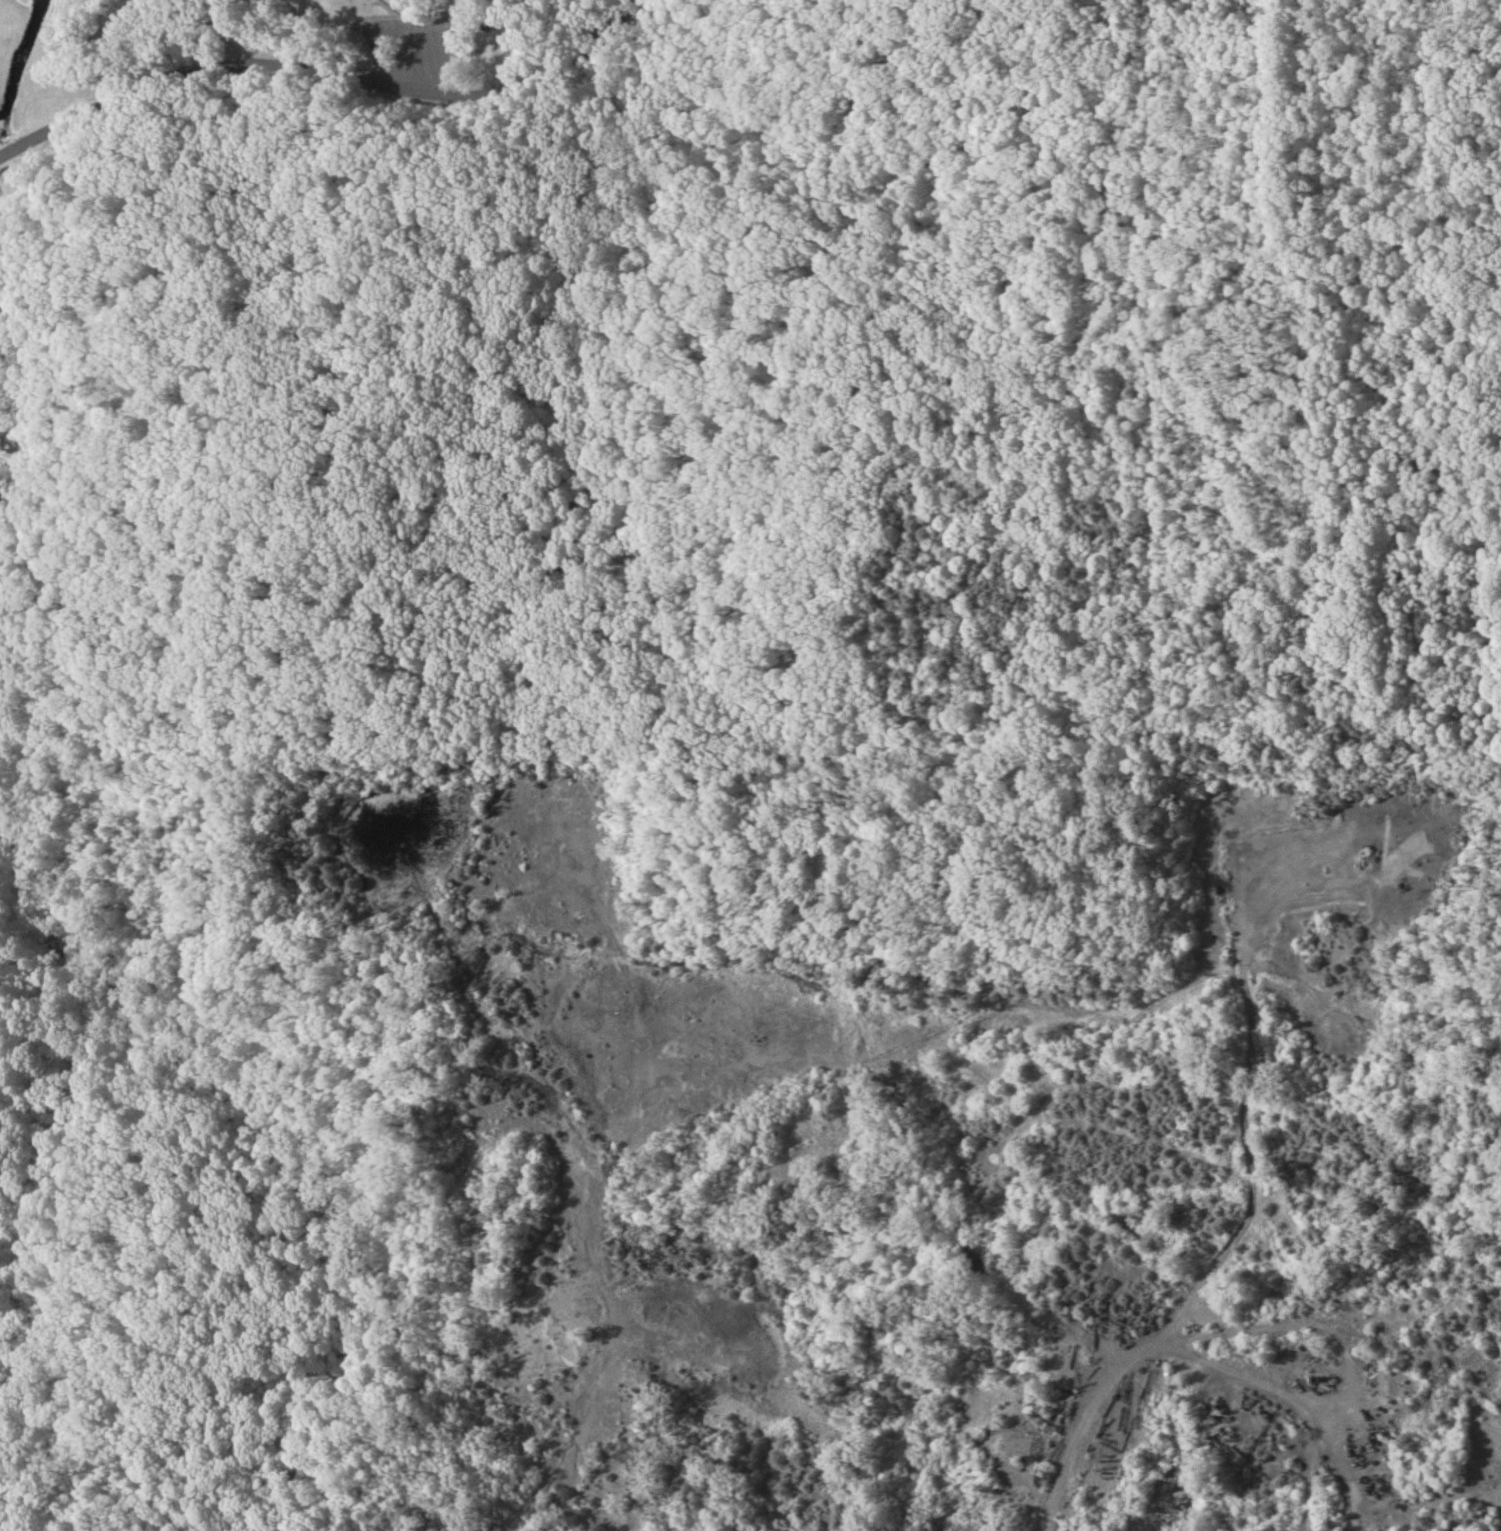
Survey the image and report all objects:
road: (394, 9)
road: (473, 10)
road: (482, 22)
building: (493, 24)
parking lot: (431, 53)
road: (327, 74)
road: (340, 98)
park: (671, 535)
road: (1480, 763)
building: (506, 814)
road: (600, 1292)
road: (1188, 1356)

